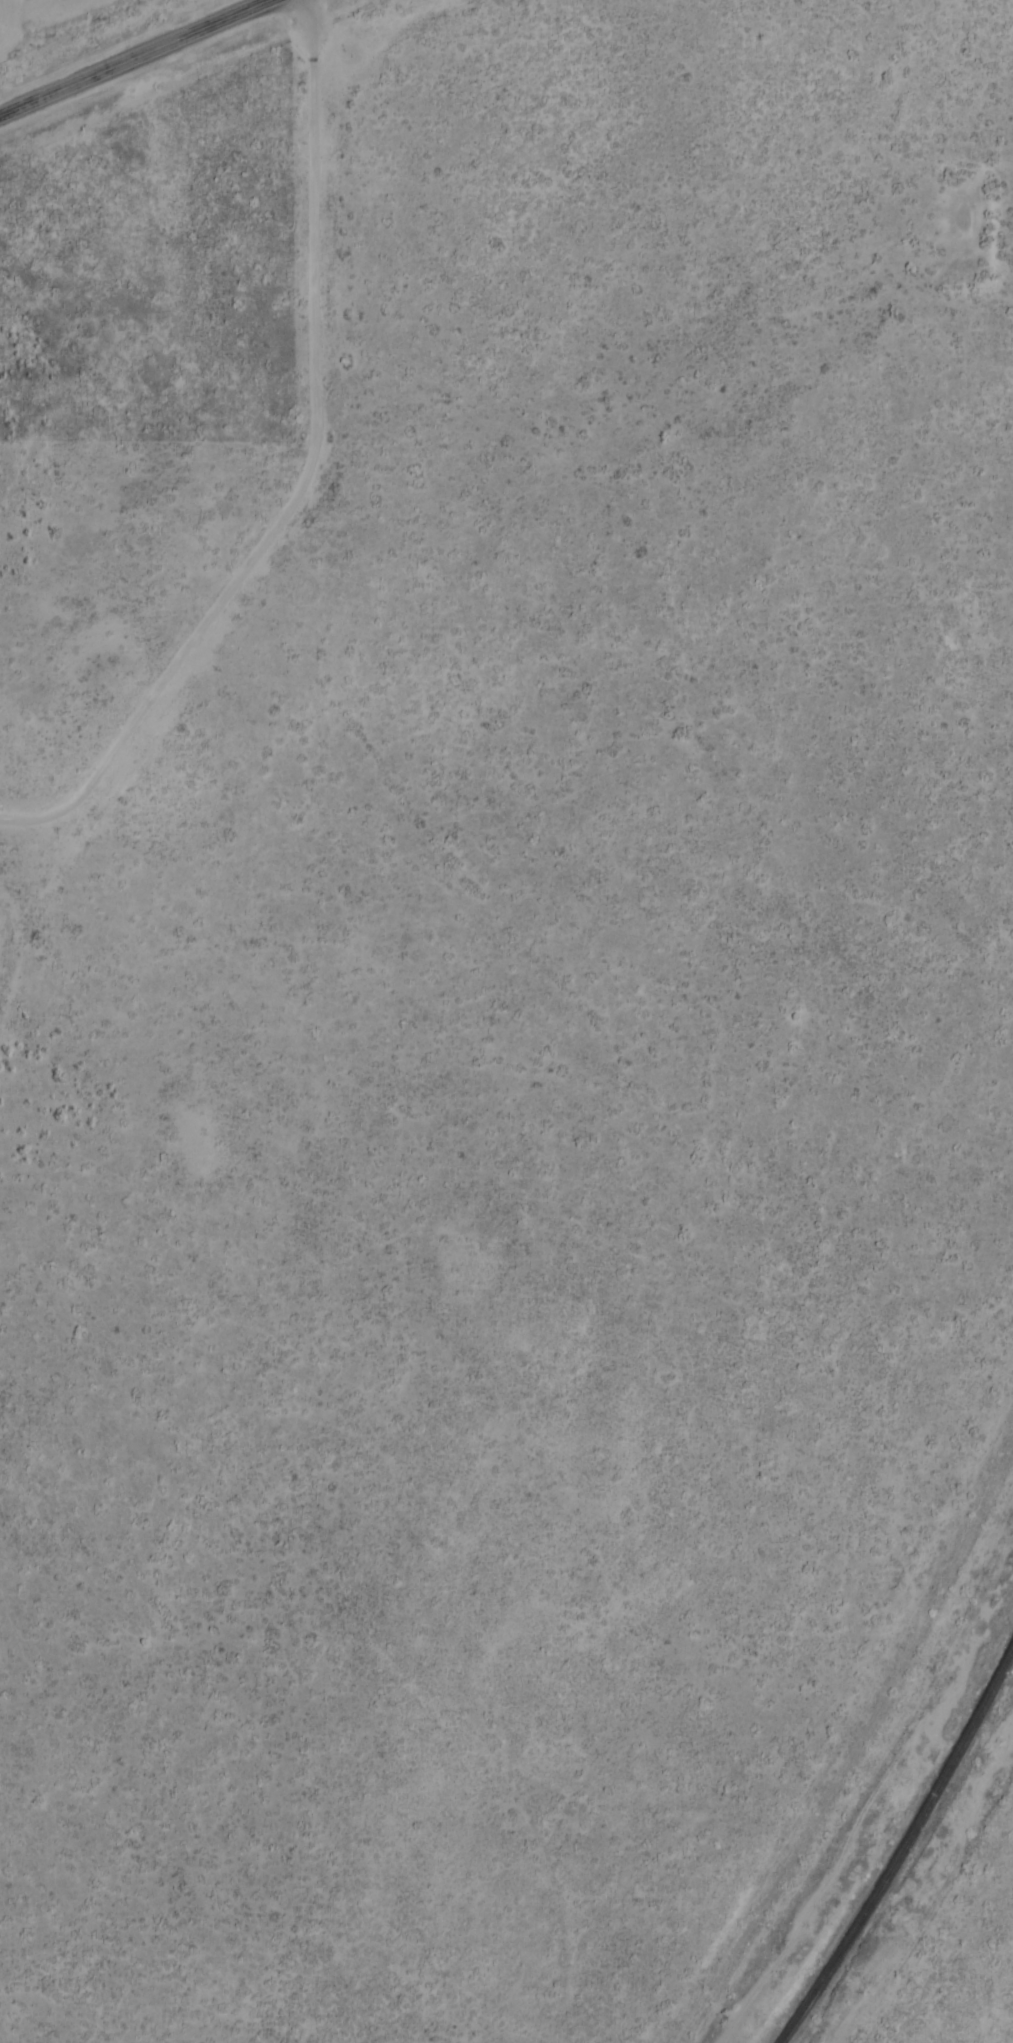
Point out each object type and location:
road: (135, 58)
road: (866, 1710)
railway: (900, 1846)

